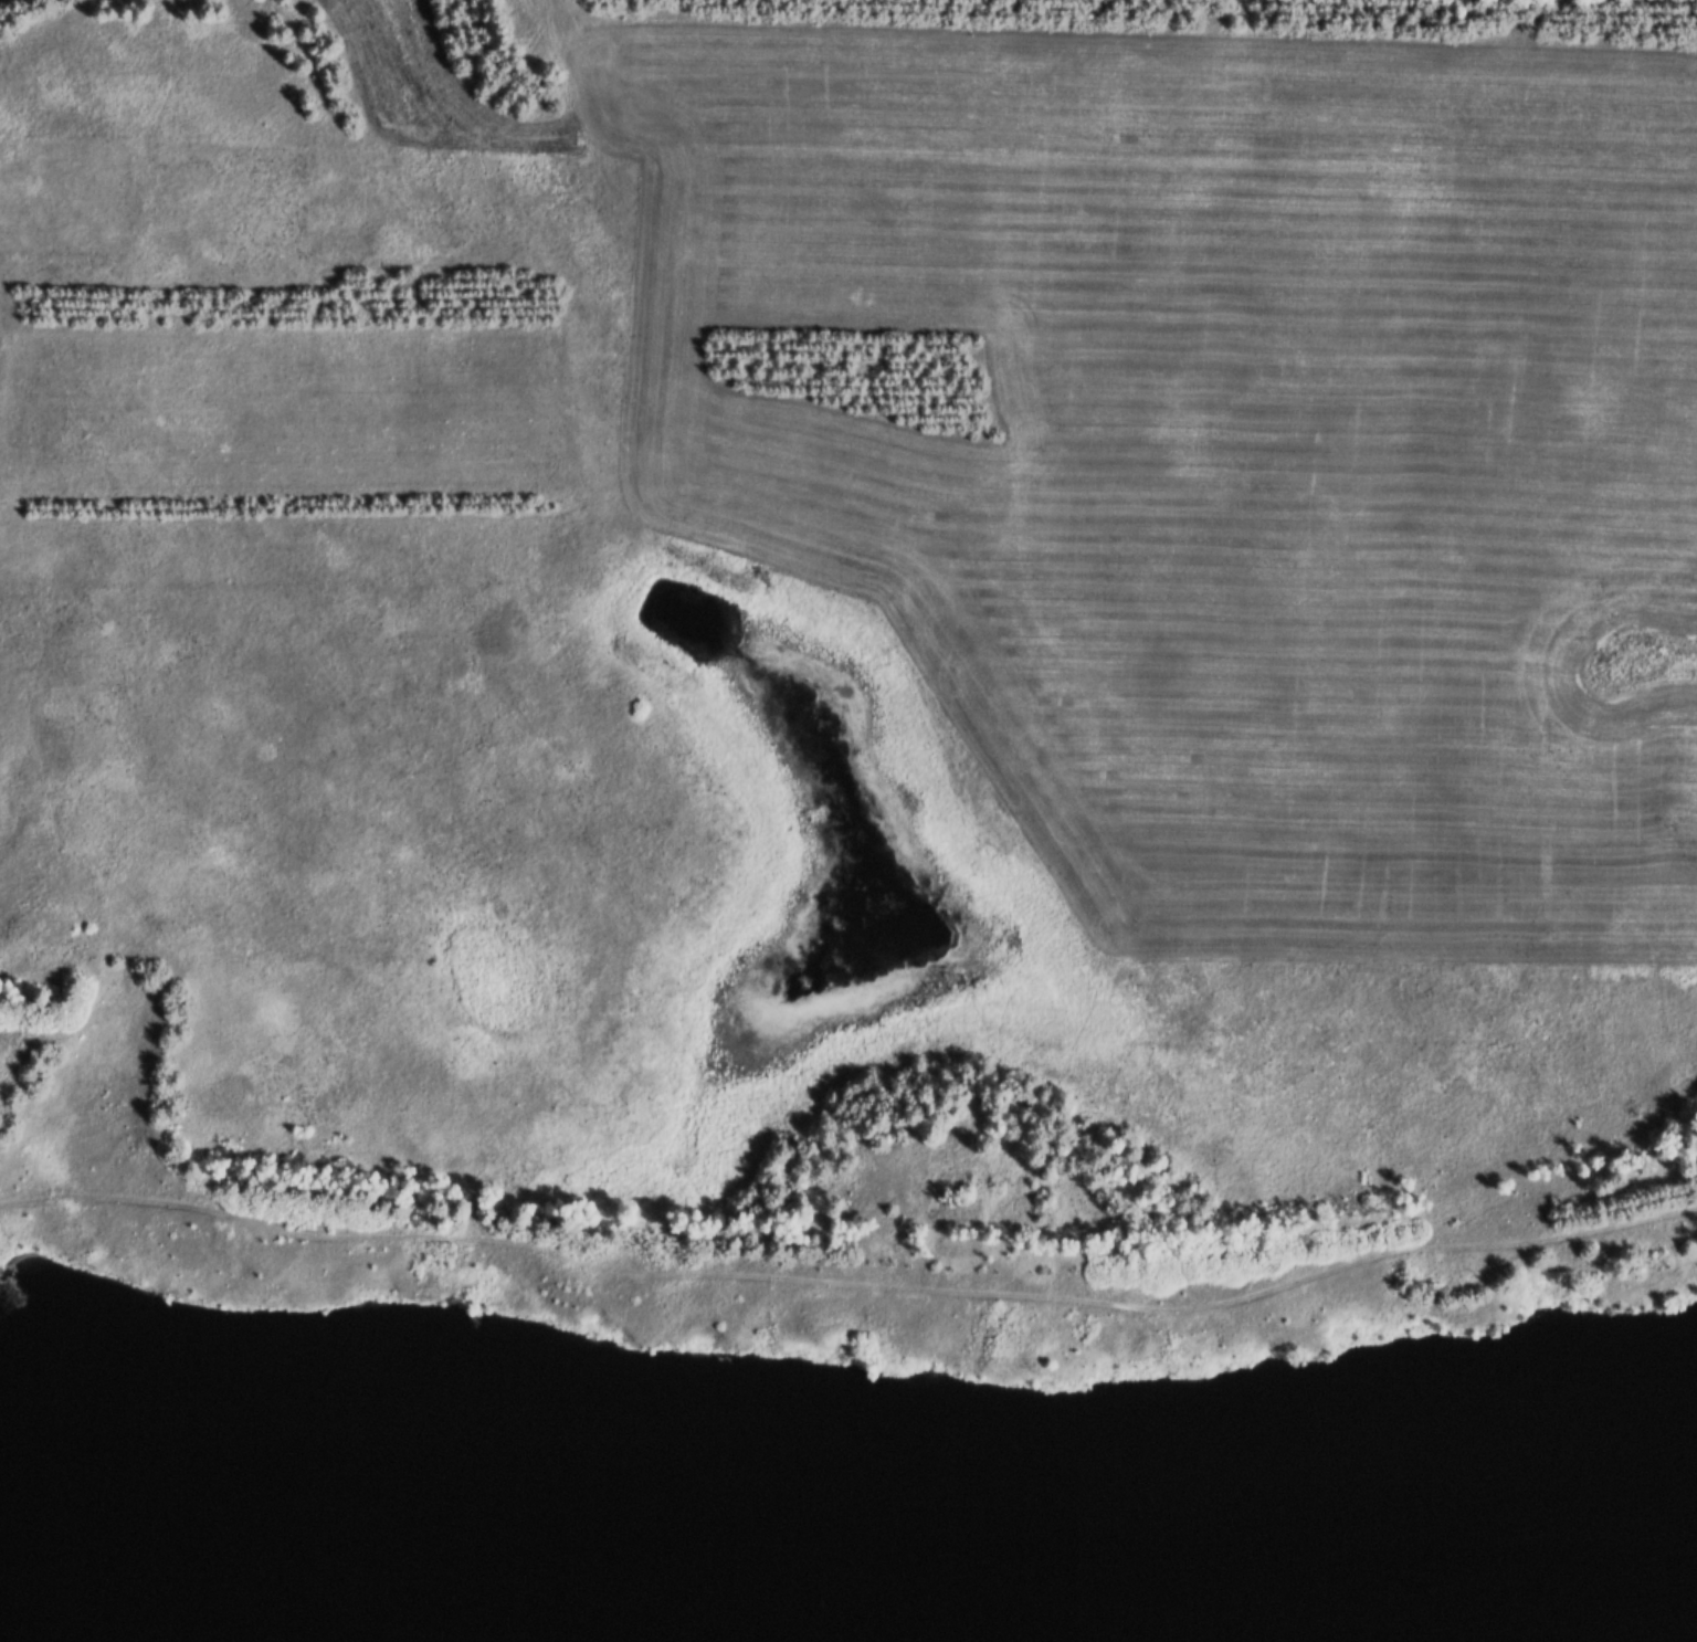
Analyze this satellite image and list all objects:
building: (236, 3)

